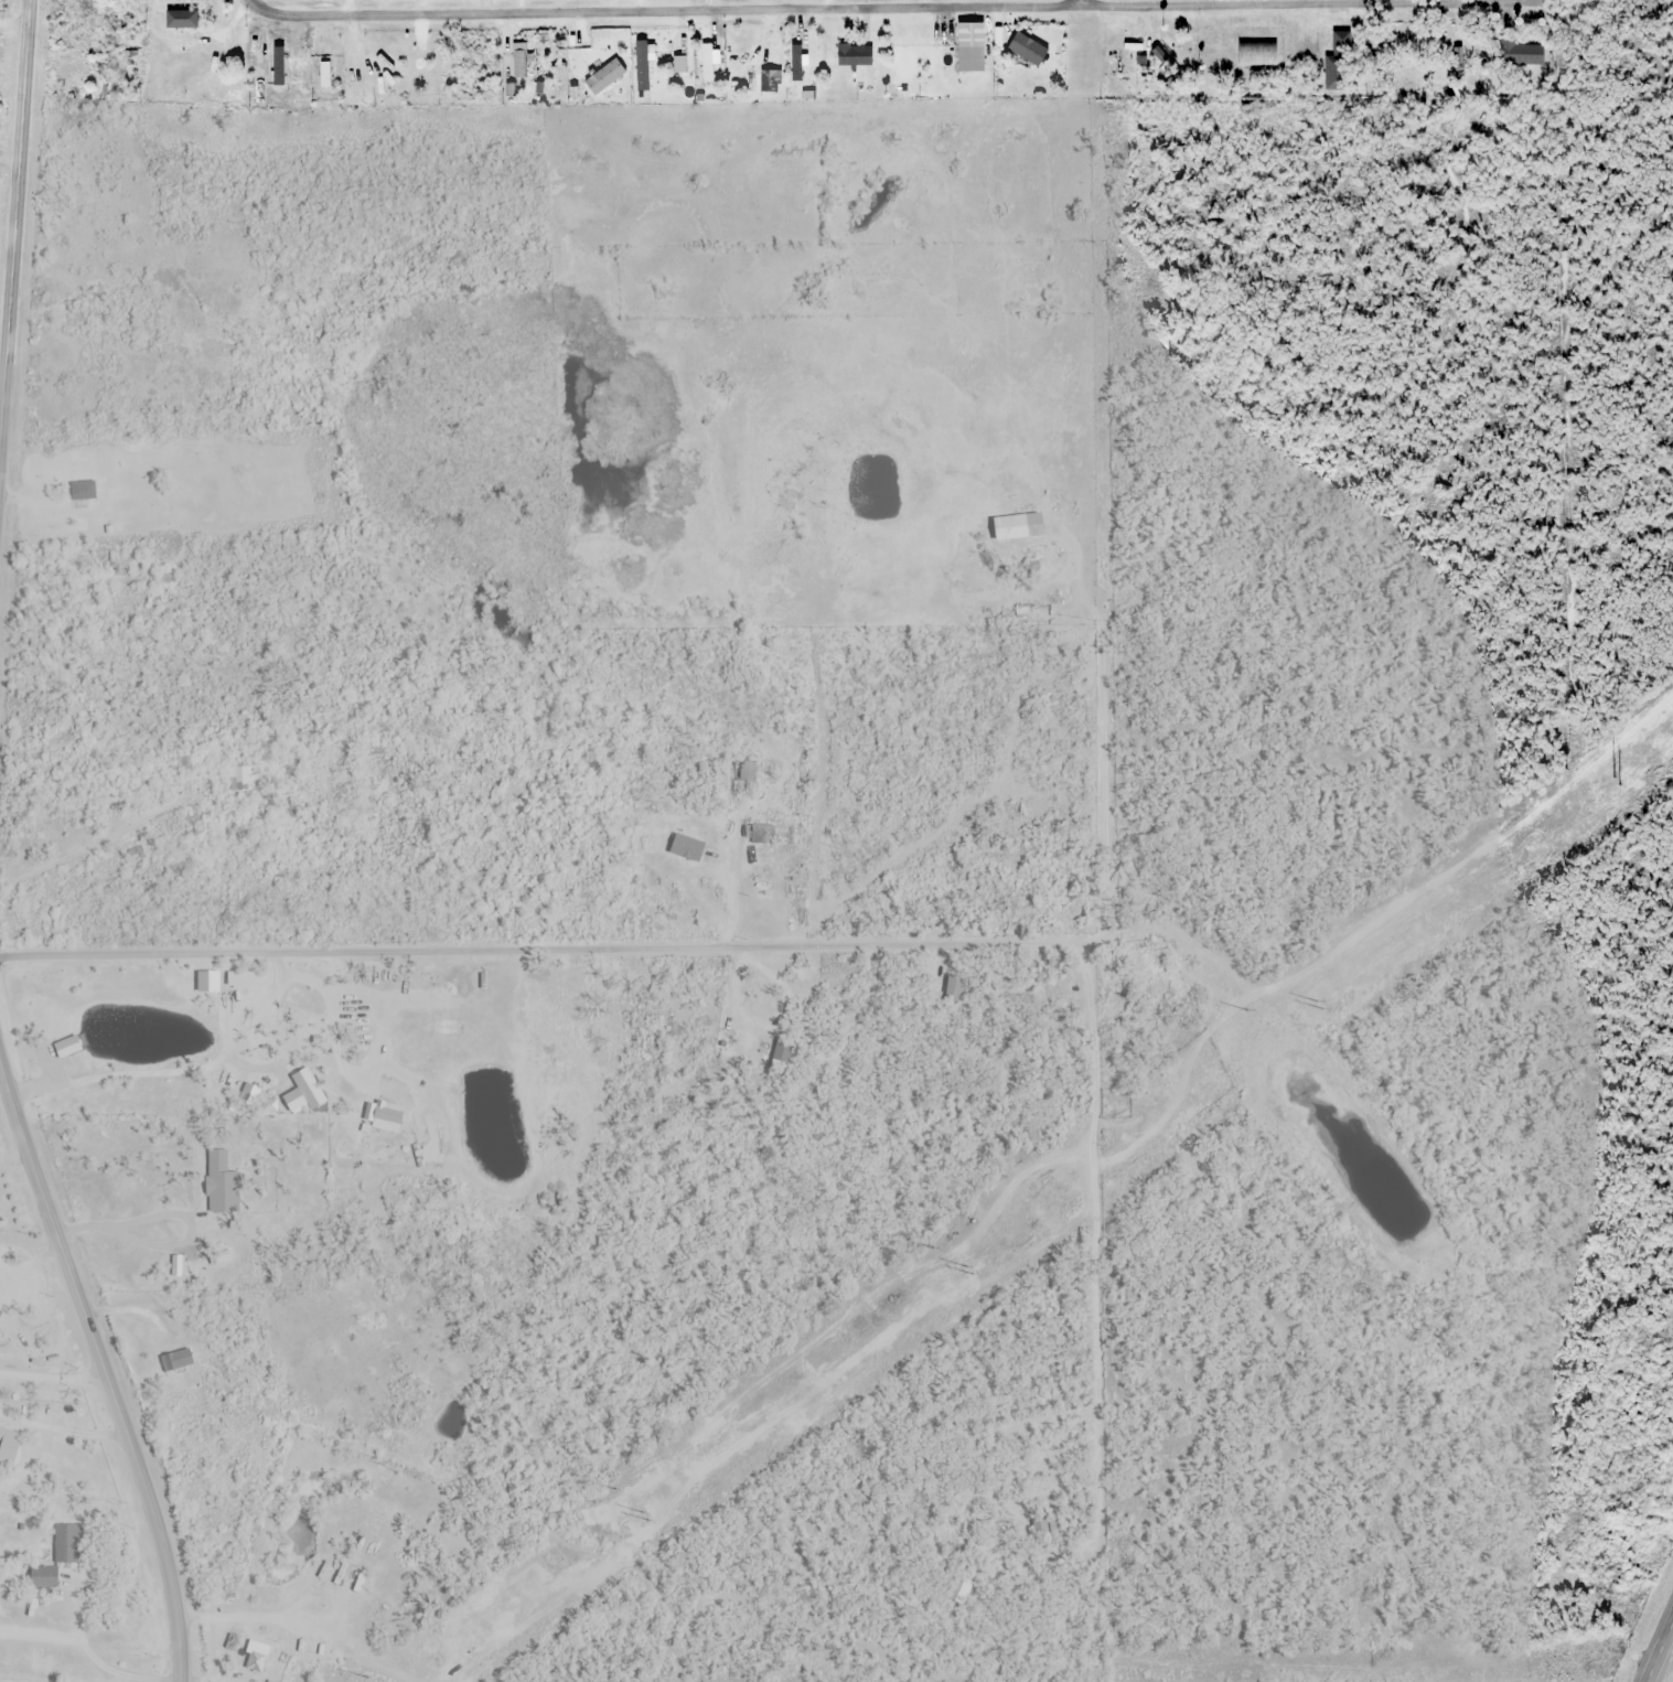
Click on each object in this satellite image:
road: (250, 1)
road: (1080, 2)
road: (882, 8)
building: (180, 18)
road: (13, 24)
building: (1461, 44)
building: (969, 47)
building: (1027, 49)
building: (659, 50)
building: (1521, 54)
building: (855, 55)
building: (796, 61)
building: (1339, 62)
building: (296, 64)
building: (711, 66)
building: (324, 74)
building: (603, 76)
building: (183, 78)
building: (348, 81)
road: (13, 259)
road: (4, 364)
building: (83, 492)
building: (743, 779)
power tower: (1595, 796)
building: (769, 835)
road: (537, 949)
building: (248, 981)
building: (207, 983)
road: (328, 1013)
power tower: (1277, 1038)
road: (223, 1043)
building: (66, 1048)
road: (118, 1069)
building: (303, 1094)
building: (222, 1192)
road: (173, 1210)
power tower: (964, 1275)
road: (104, 1359)
building: (176, 1360)
road: (55, 1378)
building: (8, 1446)
power tower: (639, 1522)
building: (68, 1544)
building: (43, 1577)
building: (317, 1590)
road: (244, 1620)
road: (1662, 1657)
building: (256, 1658)
road: (98, 1664)

